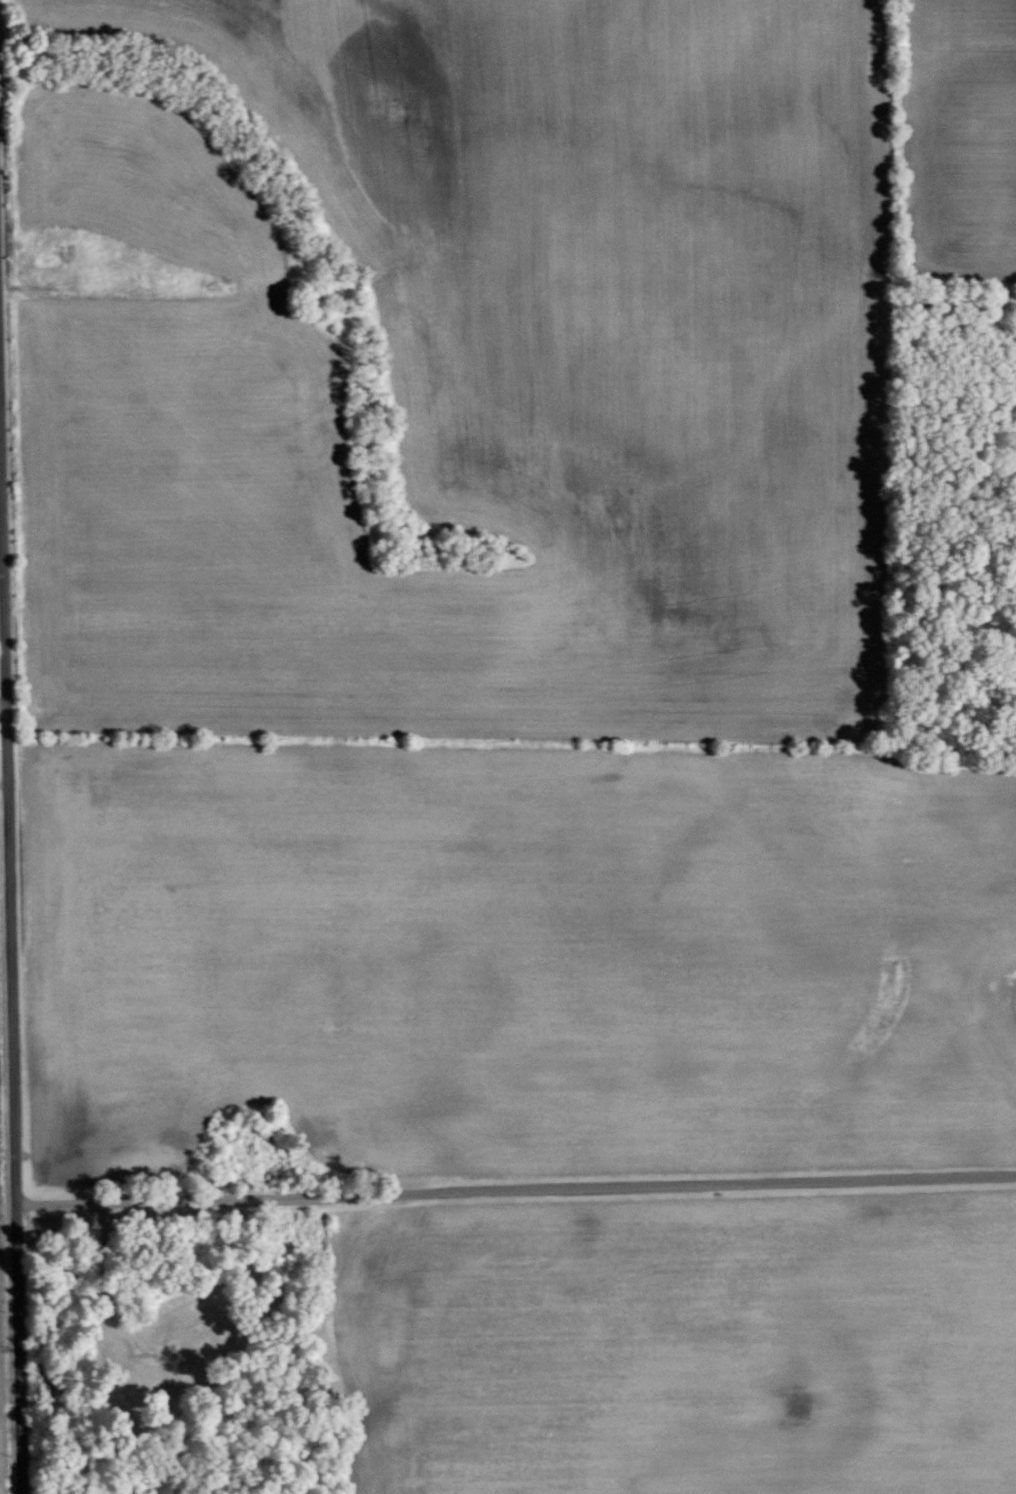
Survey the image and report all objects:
road: (12, 946)
road: (516, 1186)

